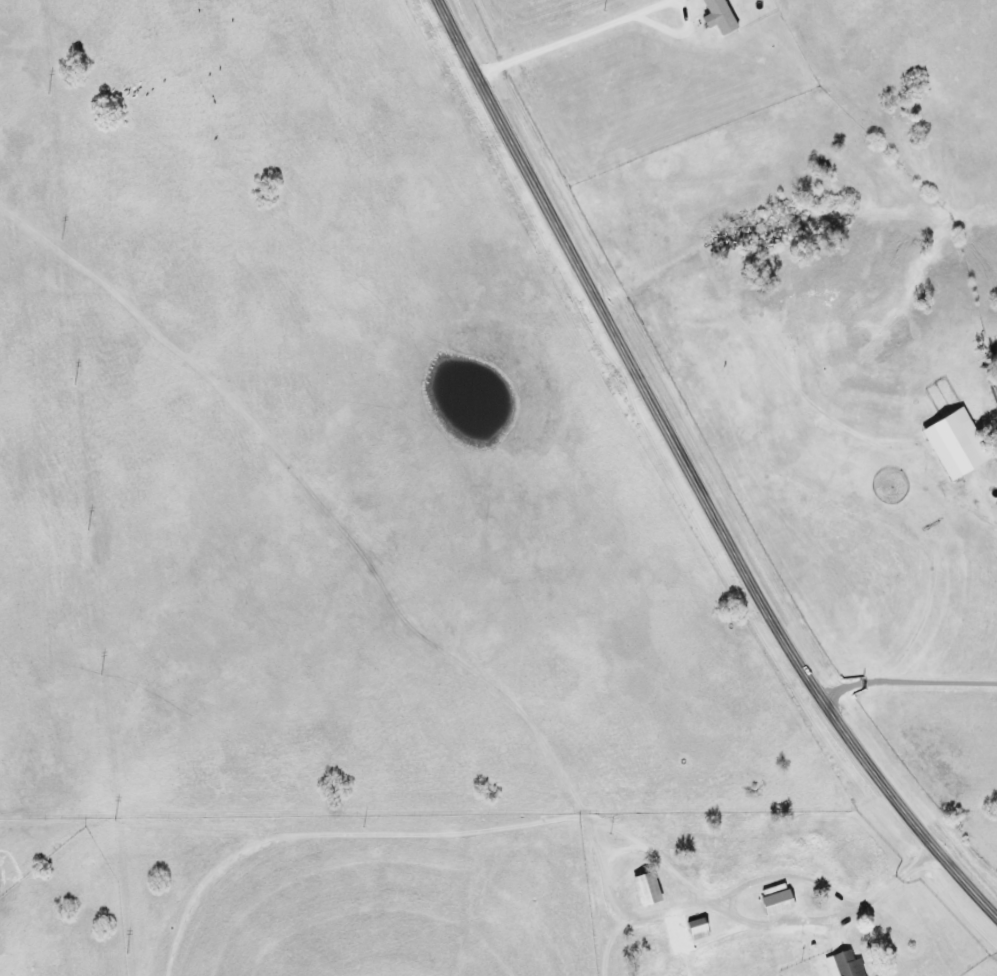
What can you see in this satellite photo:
building: (720, 16)
building: (955, 445)
building: (993, 448)
road: (692, 474)
road: (921, 731)
building: (646, 889)
building: (777, 903)
building: (697, 929)
building: (843, 965)

